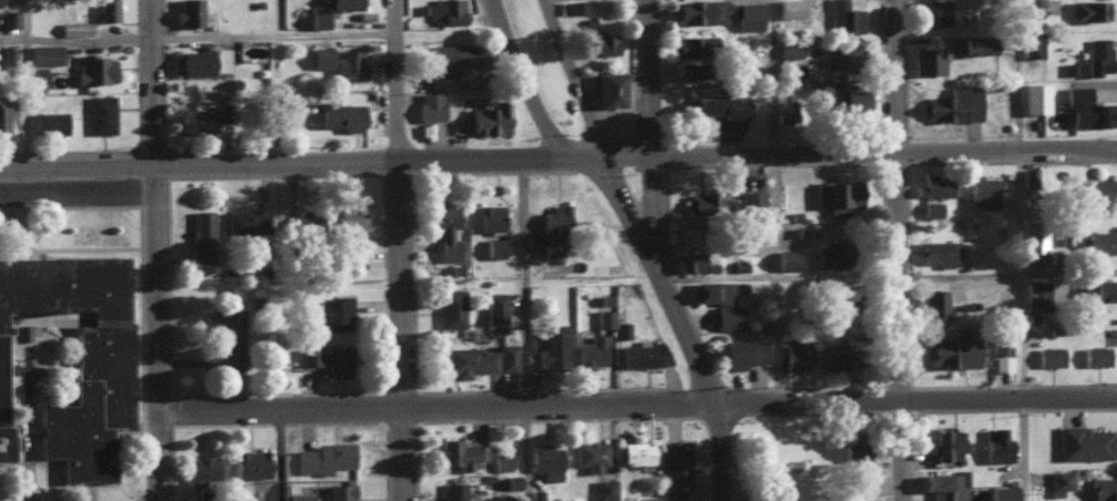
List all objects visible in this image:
building: (575, 6)
building: (1032, 7)
building: (790, 8)
building: (106, 9)
building: (1087, 9)
building: (445, 10)
building: (700, 10)
building: (187, 12)
building: (935, 12)
building: (748, 14)
building: (844, 16)
building: (8, 17)
building: (318, 18)
building: (74, 27)
building: (598, 41)
road: (203, 43)
building: (977, 43)
building: (1032, 43)
building: (687, 44)
building: (788, 47)
building: (7, 53)
building: (43, 53)
building: (839, 54)
building: (1099, 55)
building: (455, 57)
building: (928, 59)
building: (202, 60)
building: (338, 61)
building: (93, 67)
building: (690, 69)
road: (1017, 73)
road: (890, 75)
road: (574, 79)
road: (771, 79)
road: (647, 80)
road: (533, 82)
road: (408, 84)
road: (25, 86)
road: (165, 86)
building: (608, 86)
building: (846, 95)
building: (1034, 96)
building: (952, 103)
building: (429, 104)
building: (713, 105)
building: (1088, 108)
building: (100, 112)
building: (340, 113)
building: (787, 114)
building: (206, 116)
building: (489, 116)
building: (2, 121)
building: (49, 121)
road: (883, 152)
road: (623, 161)
road: (381, 168)
road: (82, 174)
building: (1028, 181)
building: (933, 184)
building: (1098, 188)
road: (619, 191)
road: (646, 191)
building: (982, 191)
building: (838, 194)
building: (704, 201)
building: (750, 201)
building: (931, 208)
road: (893, 214)
building: (489, 216)
building: (349, 218)
building: (306, 219)
building: (245, 221)
building: (444, 228)
building: (553, 229)
building: (202, 235)
building: (1033, 235)
building: (1099, 241)
building: (493, 246)
building: (937, 252)
building: (832, 254)
building: (358, 257)
building: (785, 258)
building: (690, 262)
road: (778, 275)
road: (1006, 276)
road: (772, 280)
building: (754, 288)
building: (1096, 288)
building: (710, 290)
building: (1035, 294)
building: (933, 303)
building: (495, 306)
building: (838, 306)
building: (452, 307)
building: (329, 311)
road: (677, 315)
building: (727, 316)
building: (604, 317)
road: (1019, 324)
road: (522, 328)
building: (621, 329)
road: (411, 335)
building: (228, 336)
road: (166, 337)
building: (550, 348)
building: (944, 350)
building: (590, 351)
building: (1001, 351)
building: (642, 352)
building: (742, 352)
building: (795, 354)
building: (834, 355)
building: (1049, 355)
building: (1095, 355)
building: (75, 356)
building: (505, 356)
building: (327, 358)
building: (470, 360)
road: (899, 388)
road: (915, 399)
road: (440, 409)
building: (946, 442)
building: (1087, 442)
building: (995, 444)
building: (636, 451)
building: (855, 451)
building: (458, 452)
building: (591, 453)
road: (716, 454)
building: (322, 458)
building: (544, 459)
building: (501, 461)
building: (249, 462)
building: (675, 466)
building: (202, 468)
building: (1060, 479)
building: (943, 485)
building: (1104, 488)
building: (604, 489)
building: (474, 491)
building: (339, 492)
building: (1001, 492)
building: (535, 494)
building: (299, 497)
building: (643, 498)
building: (267, 500)

